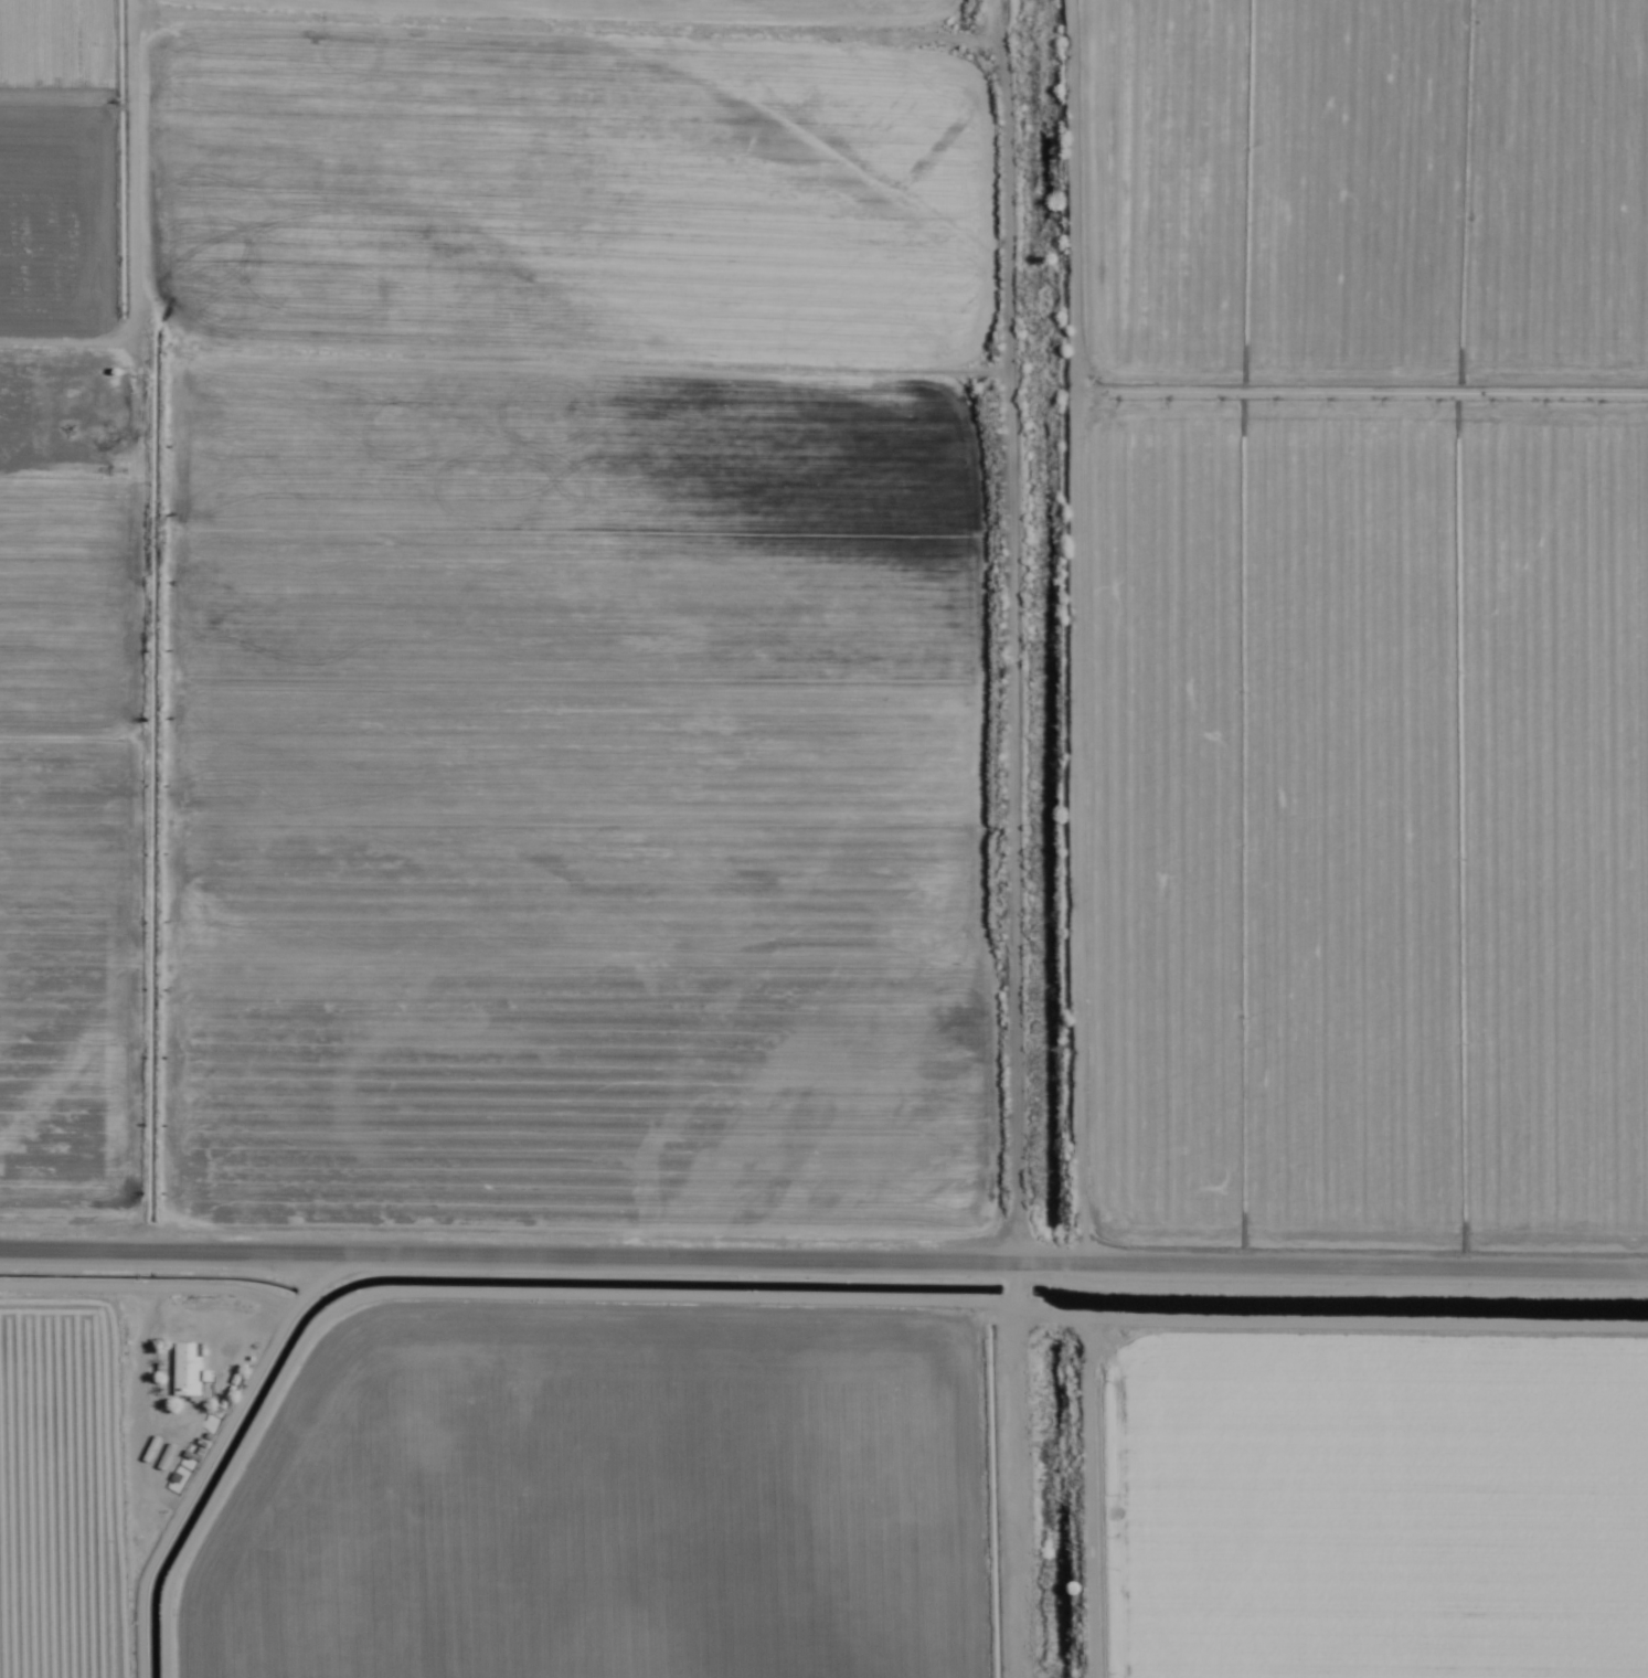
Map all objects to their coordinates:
crop: (823, 839)
road: (823, 1262)
building: (190, 1368)

